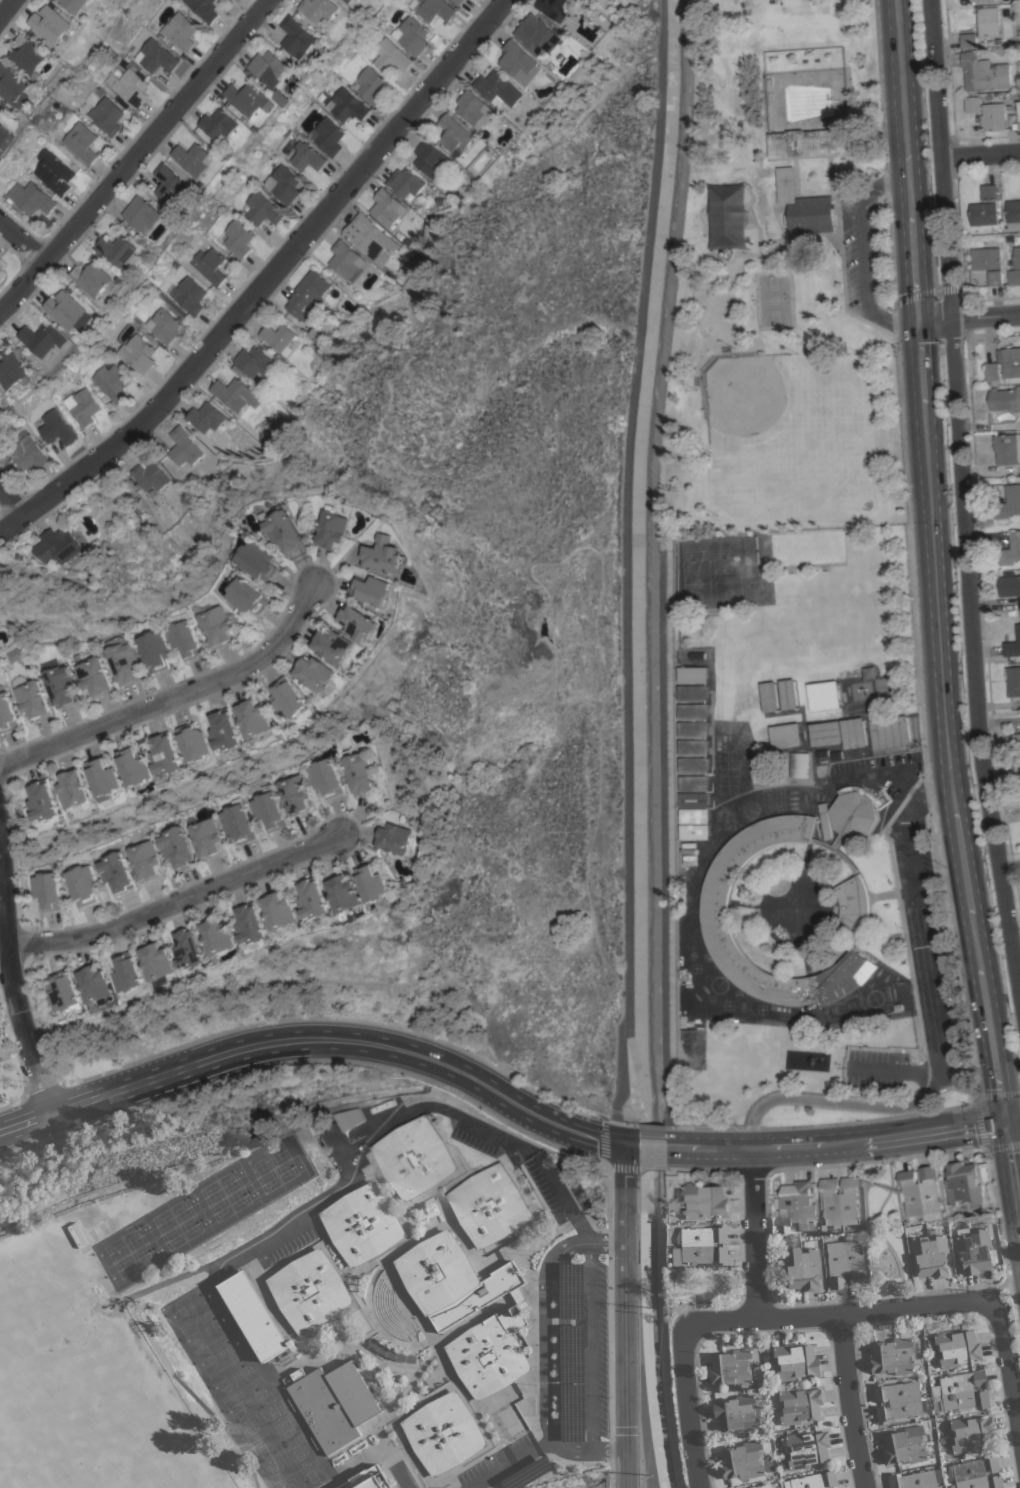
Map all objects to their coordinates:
building: (978, 0)
building: (348, 1)
building: (457, 2)
building: (77, 4)
building: (557, 8)
building: (203, 9)
building: (319, 9)
building: (434, 9)
road: (9, 10)
building: (988, 21)
building: (54, 25)
building: (181, 31)
building: (539, 34)
building: (412, 35)
building: (298, 37)
building: (968, 41)
building: (31, 55)
building: (155, 56)
building: (391, 56)
building: (520, 63)
building: (269, 68)
building: (983, 73)
building: (15, 85)
building: (370, 85)
building: (128, 87)
building: (499, 88)
road: (902, 91)
building: (282, 97)
building: (247, 98)
building: (972, 104)
building: (346, 105)
building: (475, 109)
building: (106, 116)
building: (992, 117)
building: (219, 125)
building: (455, 134)
building: (327, 136)
building: (6, 139)
building: (807, 142)
building: (81, 143)
road: (139, 154)
road: (979, 154)
building: (307, 157)
building: (193, 158)
building: (431, 159)
building: (53, 172)
building: (406, 182)
building: (282, 184)
building: (172, 185)
building: (786, 185)
building: (989, 191)
building: (30, 198)
building: (387, 207)
building: (262, 209)
building: (1013, 210)
building: (143, 214)
building: (984, 214)
building: (810, 217)
road: (23, 238)
building: (238, 238)
building: (368, 238)
building: (120, 249)
road: (862, 253)
building: (1017, 257)
building: (985, 258)
building: (345, 260)
building: (209, 265)
building: (410, 265)
building: (1, 269)
road: (257, 274)
building: (1014, 277)
building: (93, 278)
building: (994, 278)
park: (783, 282)
building: (308, 294)
building: (189, 295)
park: (773, 299)
building: (69, 310)
road: (968, 317)
traffic signals: (917, 320)
building: (163, 326)
building: (320, 333)
building: (277, 336)
building: (44, 339)
building: (137, 353)
building: (1011, 362)
building: (253, 363)
building: (13, 370)
building: (992, 370)
building: (111, 380)
building: (0, 393)
building: (235, 394)
building: (1005, 399)
building: (82, 406)
park: (770, 416)
building: (206, 418)
building: (56, 428)
building: (184, 447)
building: (1005, 448)
building: (27, 452)
building: (151, 475)
road: (20, 492)
building: (1009, 502)
road: (962, 508)
building: (335, 528)
building: (285, 530)
building: (59, 547)
building: (1011, 550)
building: (387, 554)
building: (258, 560)
park: (709, 581)
building: (1010, 586)
building: (375, 590)
building: (247, 595)
building: (359, 622)
building: (218, 625)
building: (185, 636)
building: (1013, 644)
building: (333, 645)
building: (155, 651)
building: (16, 654)
building: (124, 662)
building: (314, 672)
building: (693, 674)
building: (94, 676)
building: (1013, 681)
building: (60, 685)
building: (693, 692)
building: (788, 694)
building: (823, 695)
road: (940, 695)
building: (769, 696)
building: (288, 698)
building: (32, 699)
road: (174, 700)
building: (693, 711)
building: (6, 714)
building: (254, 718)
building: (226, 729)
building: (693, 729)
building: (889, 731)
building: (826, 733)
building: (854, 733)
building: (785, 735)
building: (1015, 741)
building: (195, 743)
building: (693, 747)
building: (166, 755)
building: (135, 765)
building: (694, 765)
building: (800, 765)
building: (760, 768)
building: (1017, 770)
building: (359, 772)
road: (880, 773)
building: (105, 777)
building: (325, 778)
building: (694, 783)
building: (74, 789)
building: (295, 793)
building: (694, 799)
building: (44, 801)
building: (268, 811)
building: (694, 816)
building: (825, 820)
building: (237, 823)
building: (694, 831)
building: (206, 837)
building: (400, 839)
building: (177, 847)
building: (145, 860)
building: (689, 860)
building: (116, 872)
building: (374, 882)
building: (82, 884)
building: (47, 891)
building: (345, 894)
building: (853, 898)
building: (314, 899)
road: (177, 901)
building: (281, 910)
building: (253, 926)
building: (220, 935)
building: (192, 948)
building: (159, 960)
building: (129, 972)
building: (96, 983)
road: (11, 991)
building: (65, 991)
road: (934, 1038)
road: (892, 1069)
road: (498, 1094)
building: (348, 1118)
road: (978, 1120)
road: (1013, 1121)
traffic signals: (1007, 1122)
road: (359, 1146)
traffic signals: (623, 1148)
building: (415, 1158)
building: (963, 1184)
building: (920, 1191)
road: (561, 1196)
building: (841, 1200)
building: (704, 1201)
building: (489, 1205)
building: (797, 1207)
building: (362, 1224)
road: (876, 1228)
road: (755, 1237)
road: (582, 1243)
building: (701, 1245)
building: (974, 1249)
road: (1003, 1250)
road: (765, 1251)
building: (931, 1254)
building: (846, 1264)
building: (802, 1268)
building: (452, 1279)
building: (309, 1291)
road: (843, 1313)
building: (254, 1316)
road: (924, 1317)
road: (625, 1318)
road: (590, 1347)
building: (955, 1347)
building: (392, 1352)
road: (543, 1352)
road: (562, 1352)
building: (489, 1353)
building: (893, 1355)
building: (794, 1361)
road: (1009, 1366)
building: (733, 1367)
building: (961, 1392)
road: (848, 1401)
building: (897, 1401)
building: (334, 1404)
building: (798, 1405)
road: (687, 1406)
building: (737, 1413)
building: (443, 1433)
building: (971, 1433)
road: (548, 1442)
building: (906, 1445)
building: (807, 1449)
road: (591, 1450)
building: (746, 1461)
road: (504, 1468)
building: (977, 1473)
road: (403, 1477)
building: (367, 1479)
building: (814, 1480)
building: (913, 1480)
building: (765, 1486)

